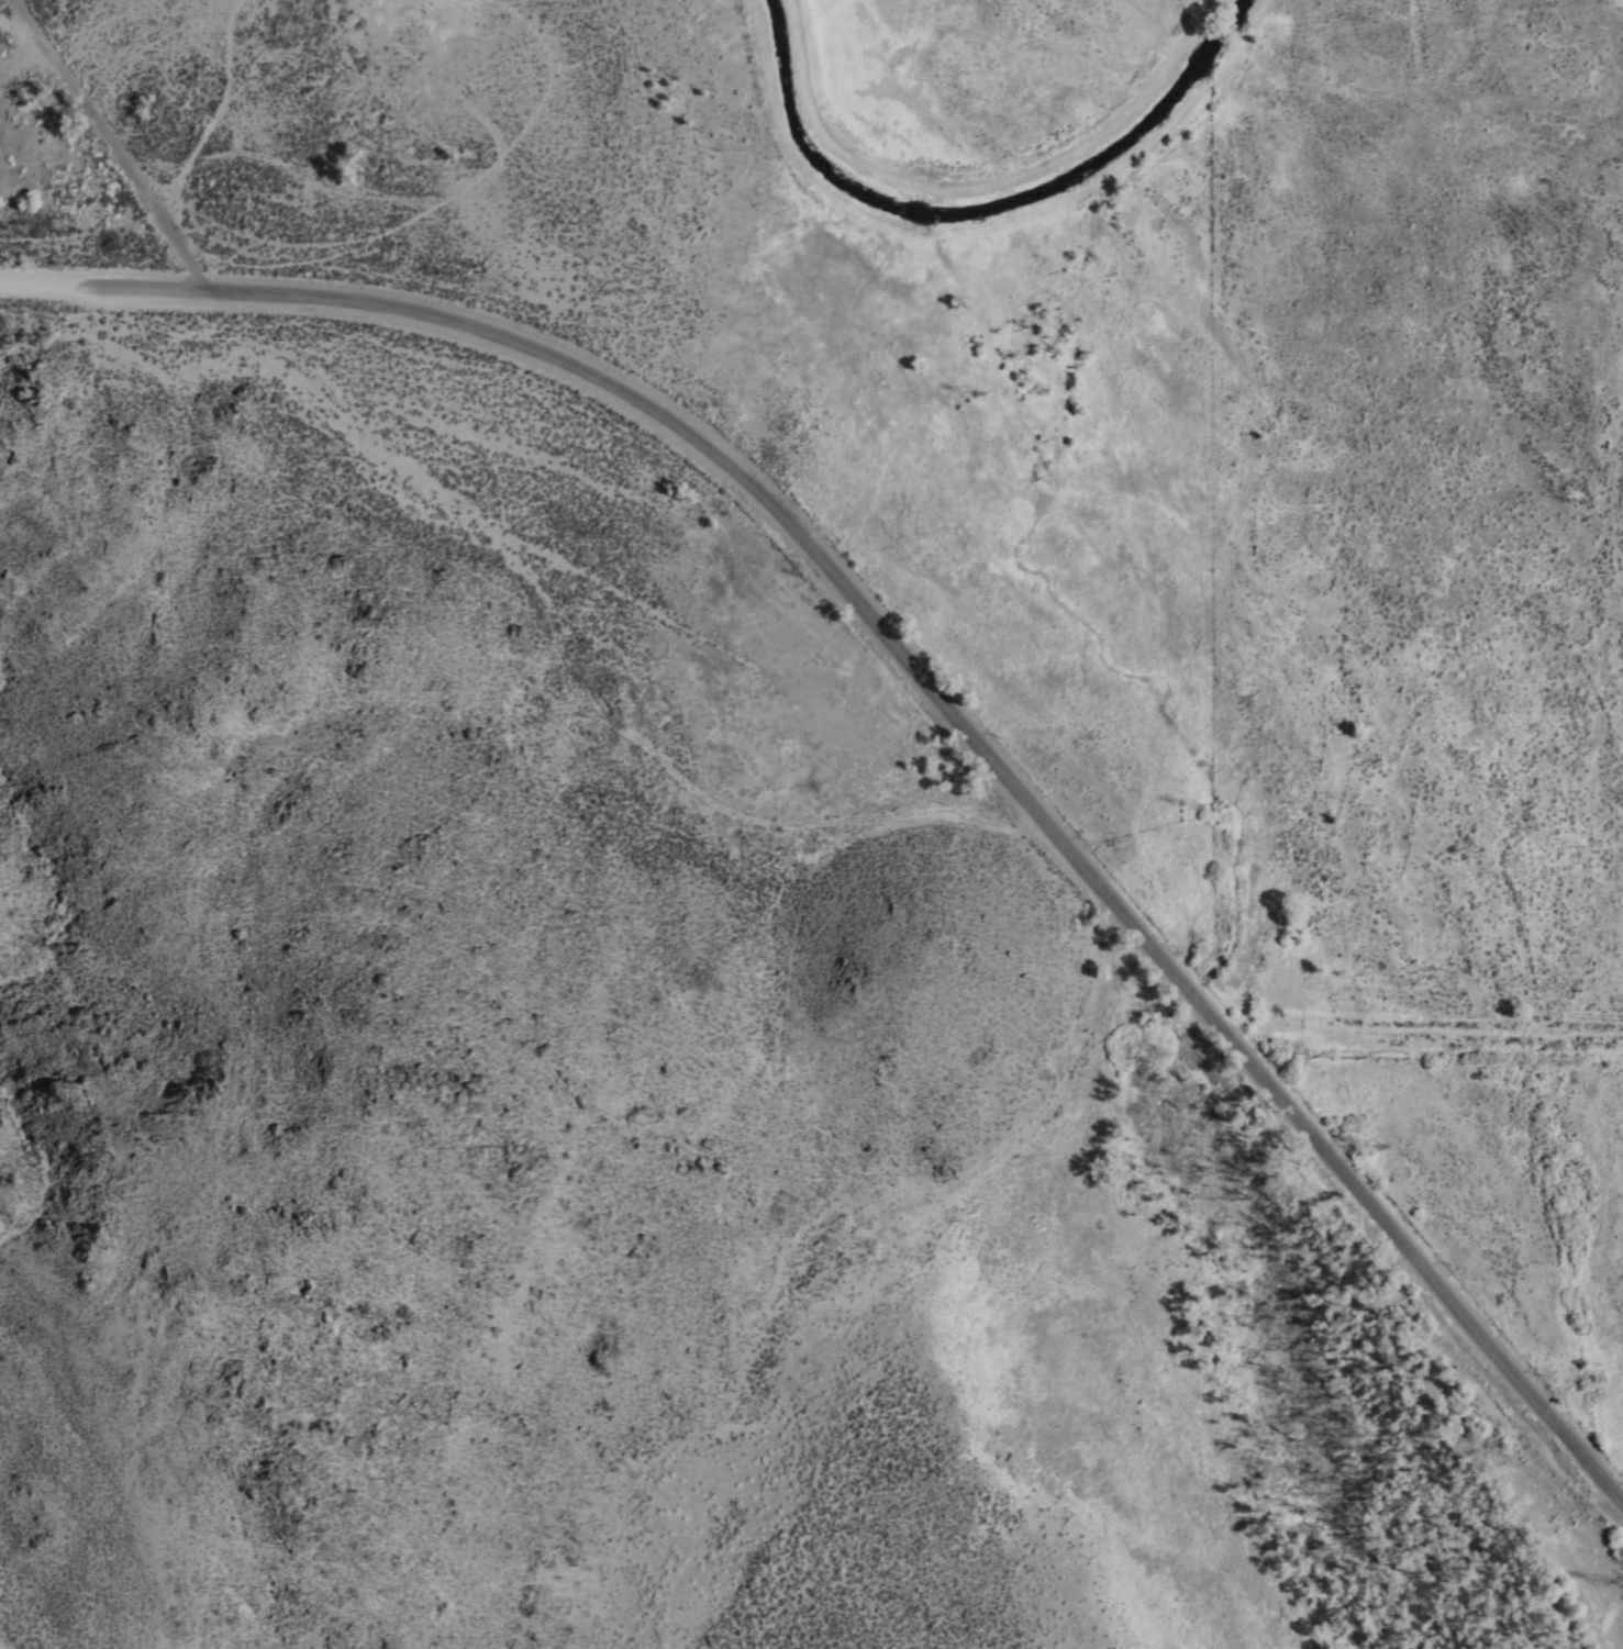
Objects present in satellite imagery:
quarry: (262, 119)
road: (112, 145)
road: (975, 186)
road: (979, 226)
road: (105, 289)
power tower: (975, 398)
road: (999, 778)
power tower: (1194, 803)
power tower: (1379, 1150)
power tower: (1605, 1586)

